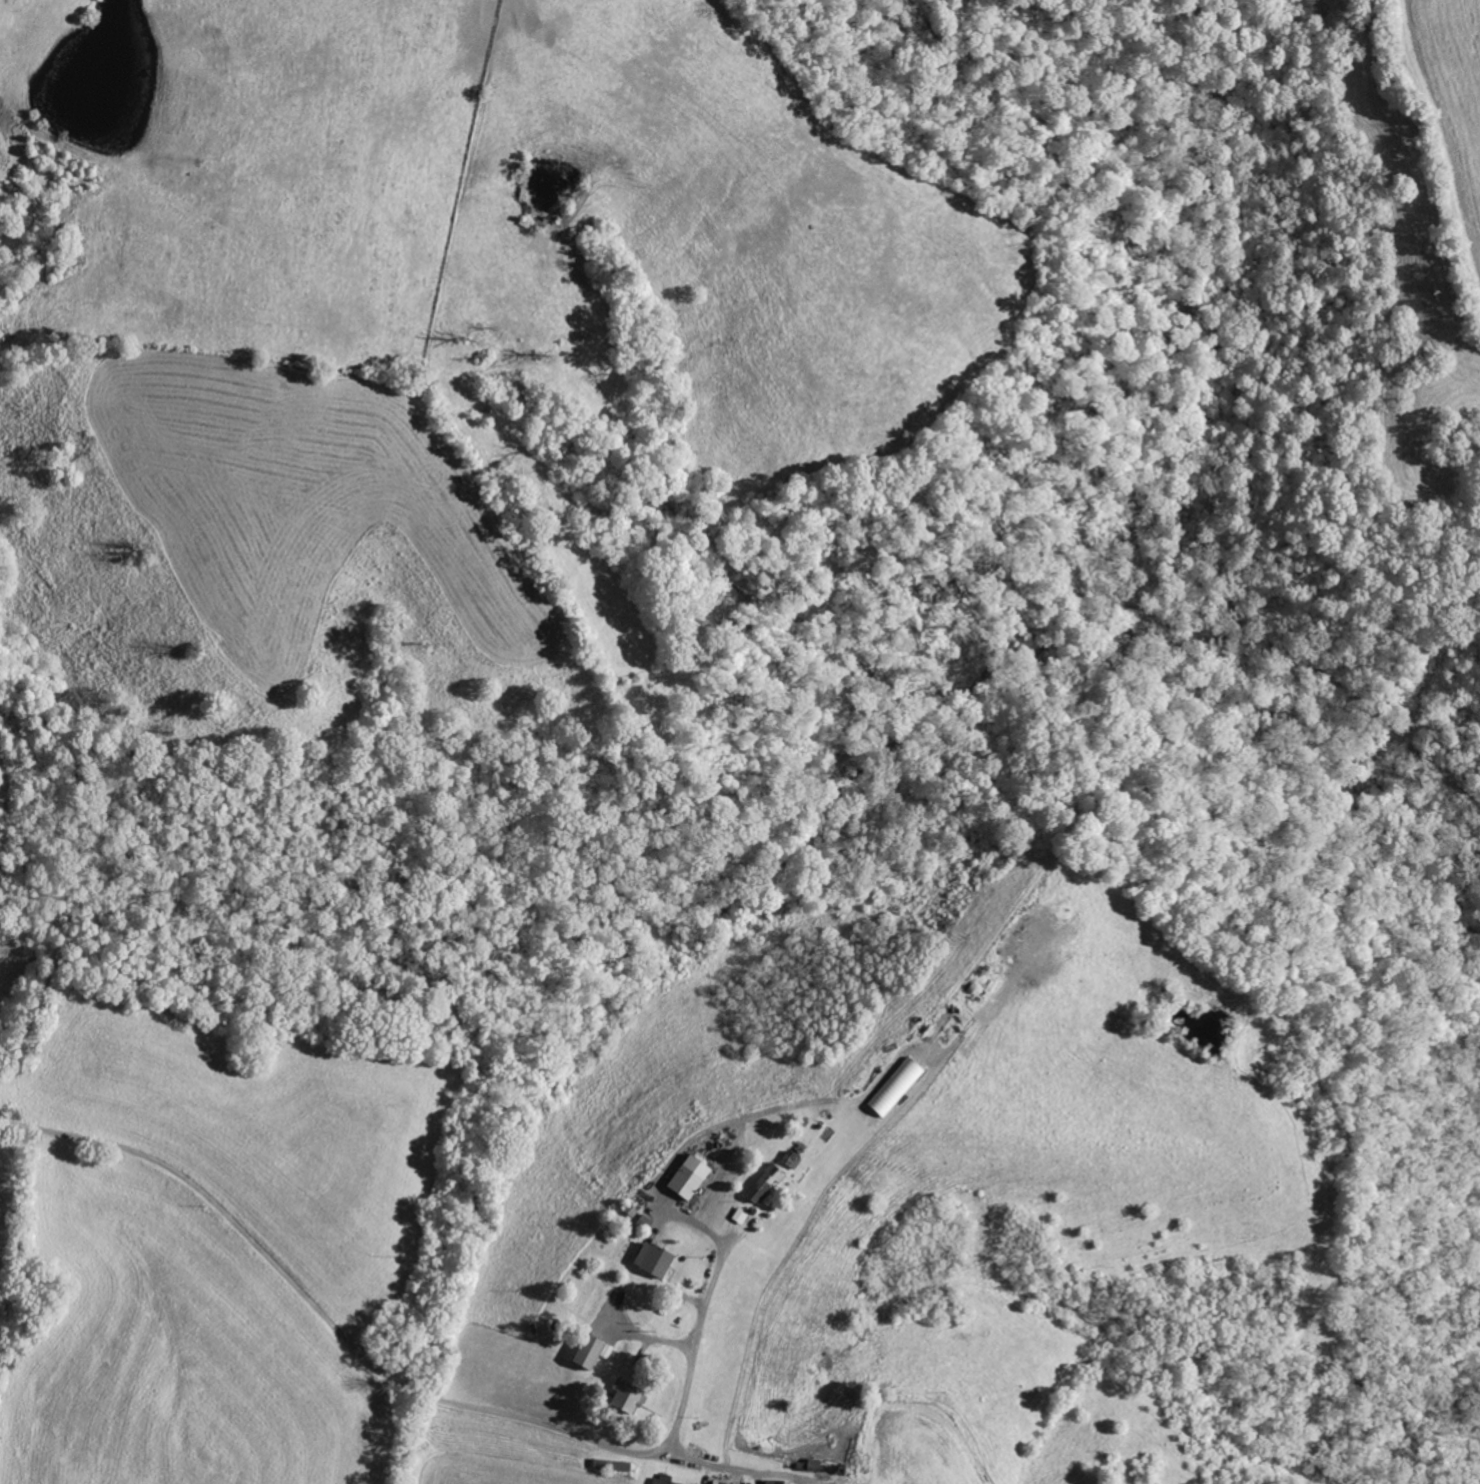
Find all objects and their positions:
building: (893, 1088)
building: (789, 1161)
building: (773, 1173)
building: (686, 1178)
building: (758, 1189)
building: (738, 1216)
building: (652, 1260)
road: (695, 1319)
road: (357, 1347)
building: (585, 1352)
building: (625, 1398)
building: (662, 1480)
building: (775, 1482)
building: (720, 1483)

